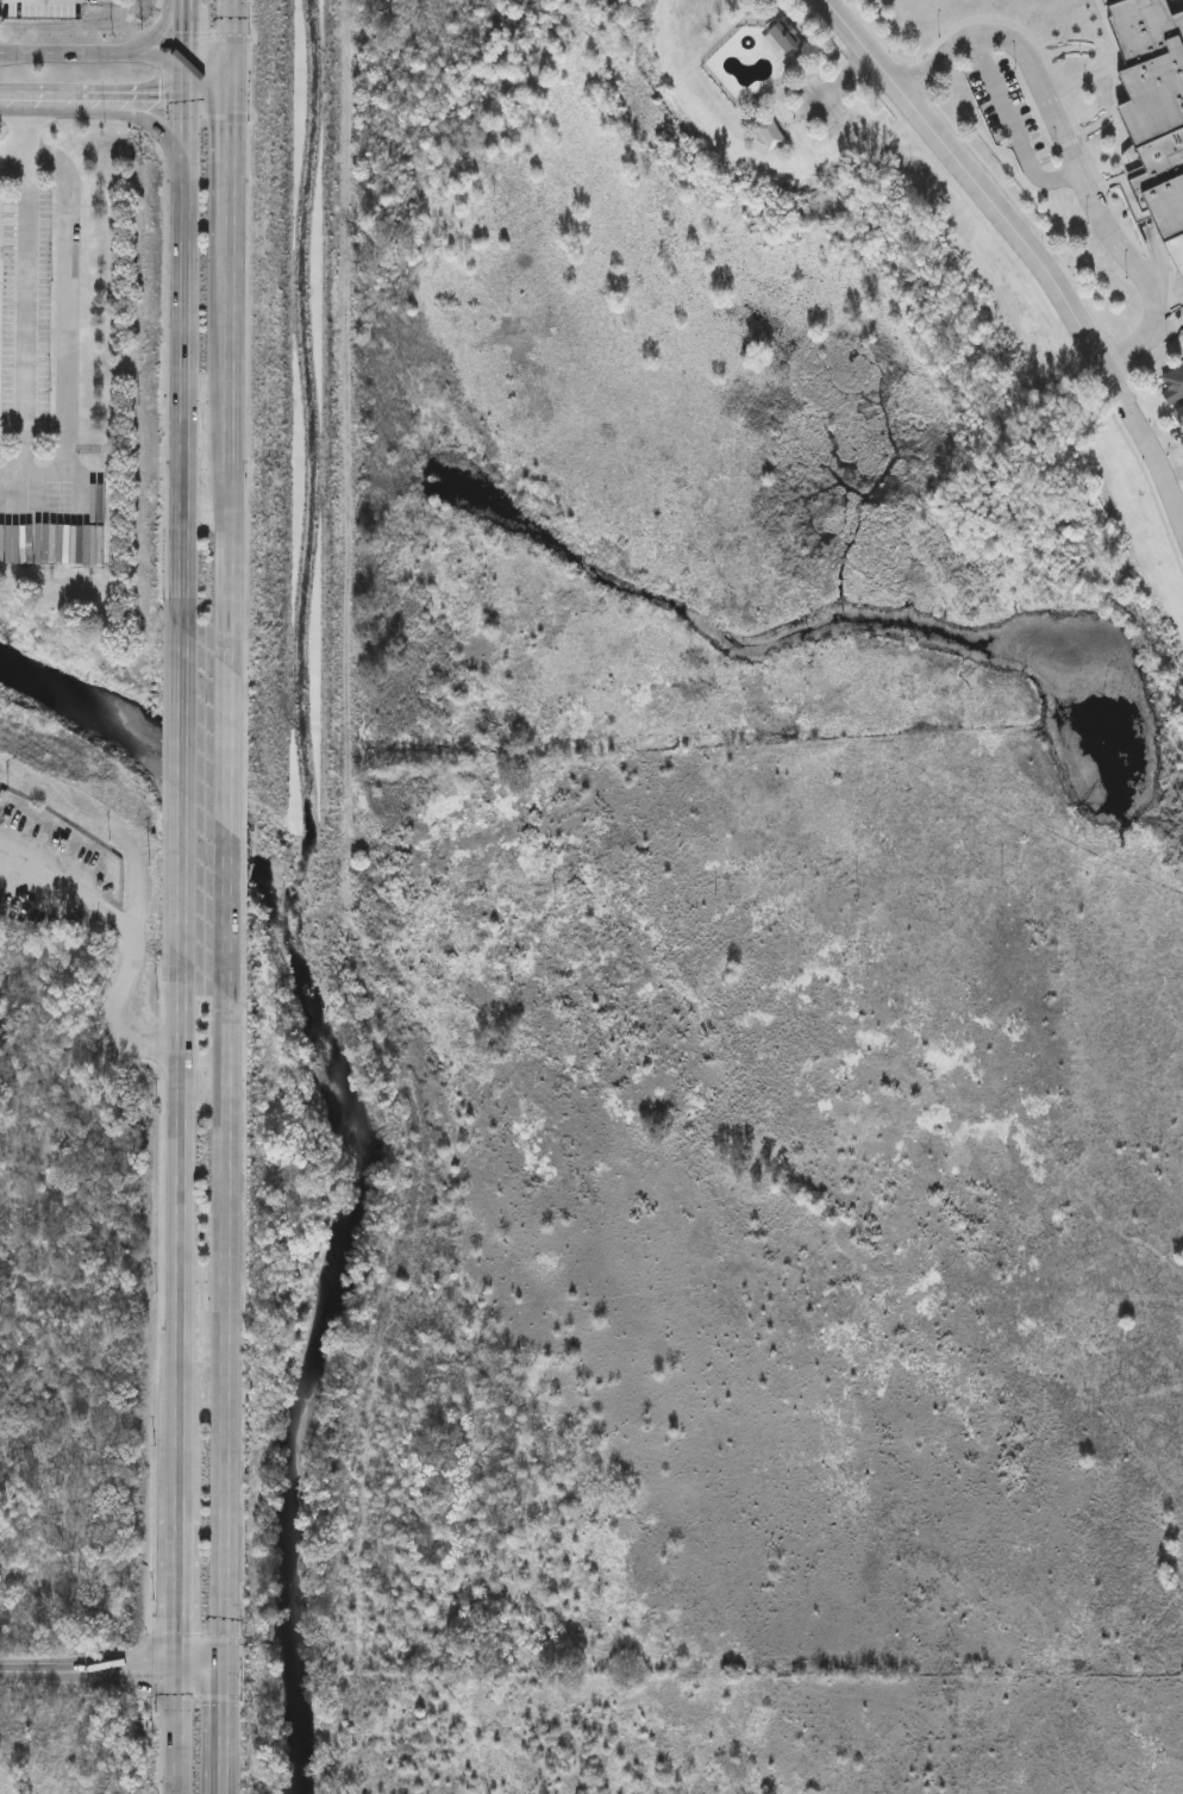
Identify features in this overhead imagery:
road: (182, 29)
road: (150, 35)
building: (783, 37)
road: (230, 51)
road: (114, 56)
traffic signals: (182, 57)
traffic signals: (230, 57)
road: (840, 85)
road: (15, 104)
road: (74, 104)
road: (148, 104)
traffic signals: (181, 104)
road: (205, 104)
traffic signals: (230, 105)
building: (1153, 106)
road: (156, 124)
road: (1013, 127)
road: (1076, 152)
road: (15, 154)
road: (227, 180)
road: (1029, 245)
road: (30, 274)
road: (80, 335)
road: (225, 337)
road: (179, 340)
building: (1172, 383)
building: (1179, 414)
road: (224, 542)
road: (179, 789)
road: (224, 829)
road: (137, 948)
road: (179, 1231)
road: (225, 1332)
road: (177, 1590)
road: (88, 1671)
road: (201, 1671)
road: (176, 1732)
road: (226, 1732)

